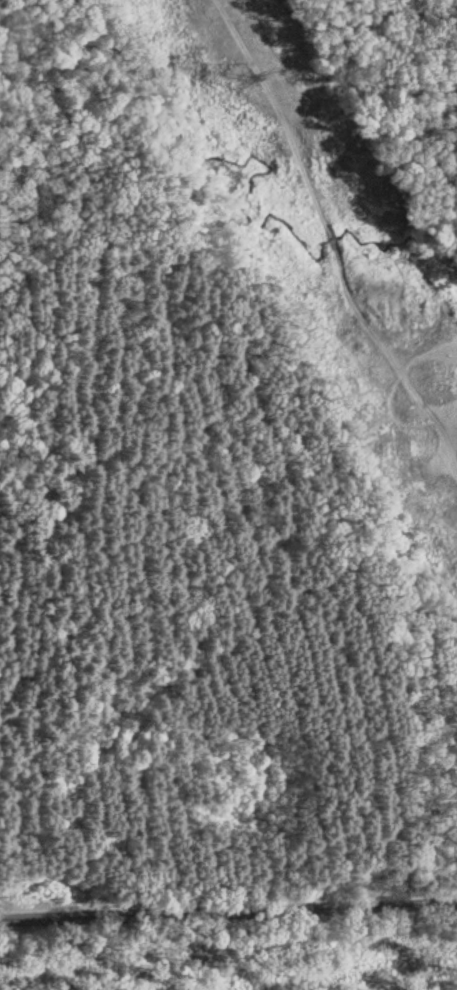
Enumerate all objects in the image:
power tower: (232, 71)
road: (228, 908)

